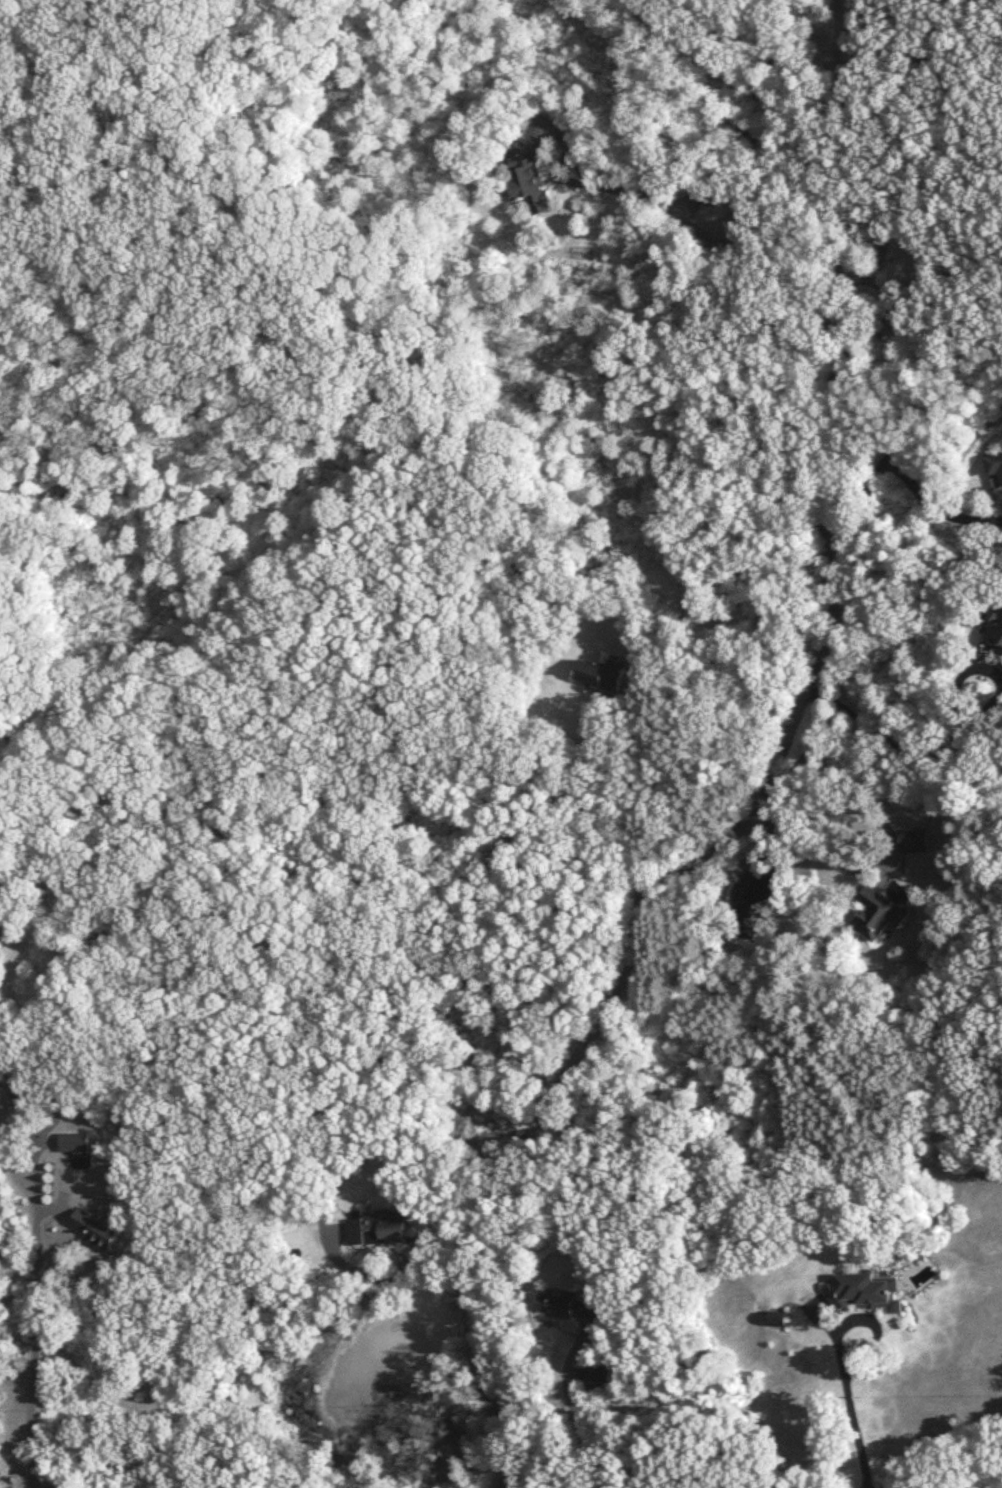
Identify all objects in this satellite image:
building: (527, 180)
road: (672, 206)
road: (775, 238)
building: (914, 264)
park: (86, 294)
road: (868, 338)
road: (908, 477)
building: (1000, 482)
building: (994, 630)
building: (602, 673)
road: (900, 744)
road: (875, 837)
building: (874, 915)
road: (616, 995)
building: (73, 1143)
road: (44, 1144)
building: (375, 1230)
building: (93, 1232)
road: (381, 1277)
road: (31, 1282)
building: (863, 1295)
building: (567, 1309)
road: (863, 1319)
building: (772, 1322)
building: (596, 1378)
road: (573, 1409)
road: (855, 1430)

